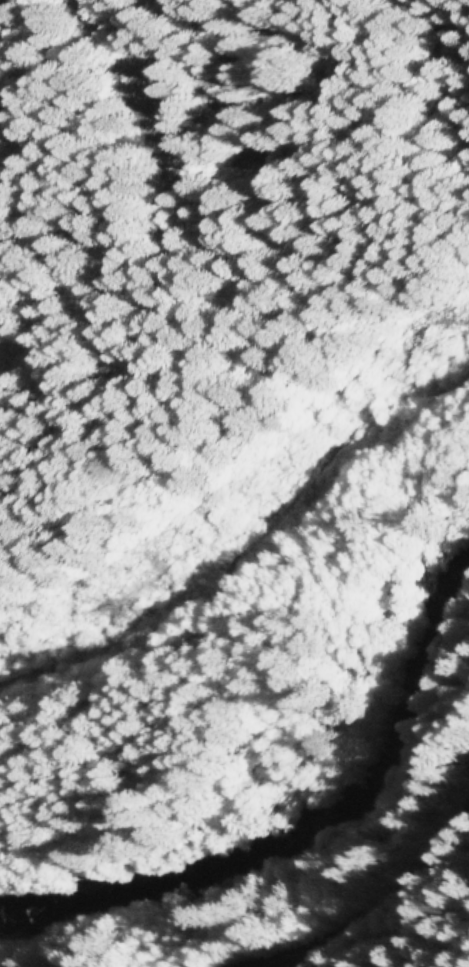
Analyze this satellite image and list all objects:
power tower: (146, 622)
river: (291, 816)
road: (364, 897)

